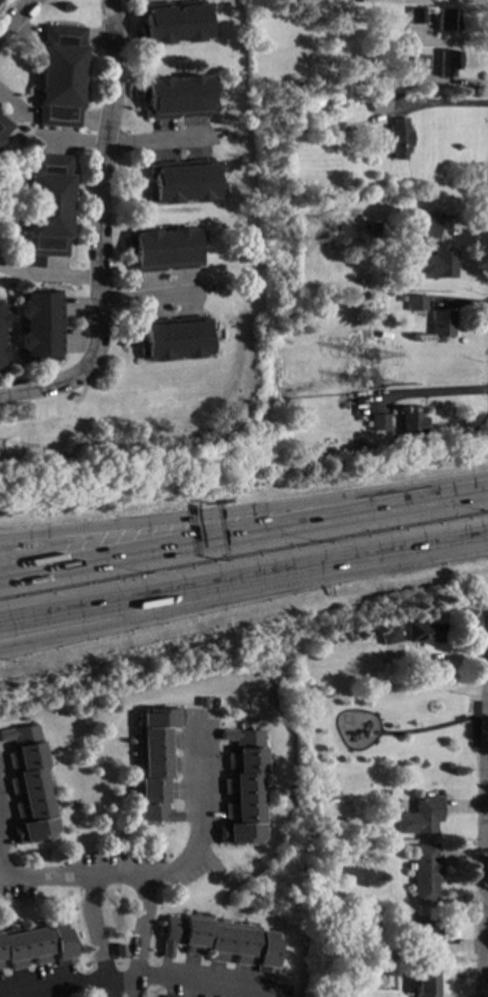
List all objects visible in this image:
road: (156, 0)
road: (137, 5)
road: (7, 8)
building: (415, 15)
road: (16, 18)
building: (445, 19)
building: (174, 21)
road: (23, 33)
road: (100, 35)
building: (420, 62)
building: (448, 62)
building: (60, 75)
building: (177, 97)
building: (379, 103)
road: (441, 103)
road: (8, 107)
road: (27, 116)
road: (95, 120)
building: (4, 127)
building: (398, 138)
road: (16, 141)
road: (70, 141)
road: (159, 142)
road: (1, 150)
road: (2, 150)
building: (183, 181)
building: (46, 205)
building: (373, 228)
building: (424, 229)
road: (100, 231)
road: (8, 244)
building: (164, 249)
road: (21, 257)
road: (44, 265)
building: (435, 265)
road: (49, 275)
road: (148, 298)
building: (400, 298)
building: (415, 302)
road: (80, 309)
building: (1, 320)
building: (441, 323)
building: (40, 325)
road: (65, 327)
building: (175, 338)
road: (79, 340)
building: (1, 352)
power tower: (379, 370)
road: (48, 375)
road: (435, 393)
power tower: (379, 395)
building: (379, 421)
building: (411, 422)
power tower: (7, 428)
power tower: (13, 451)
road: (418, 499)
road: (174, 526)
road: (174, 543)
road: (243, 579)
road: (244, 593)
building: (424, 631)
building: (389, 634)
building: (205, 701)
road: (336, 723)
park: (391, 726)
road: (435, 726)
building: (158, 763)
building: (31, 784)
building: (244, 788)
building: (332, 793)
building: (422, 816)
road: (203, 818)
road: (115, 871)
road: (484, 872)
building: (427, 873)
road: (40, 874)
road: (486, 904)
building: (420, 931)
building: (361, 935)
building: (220, 941)
building: (35, 944)
building: (119, 951)
road: (132, 974)
building: (426, 982)
building: (169, 996)

